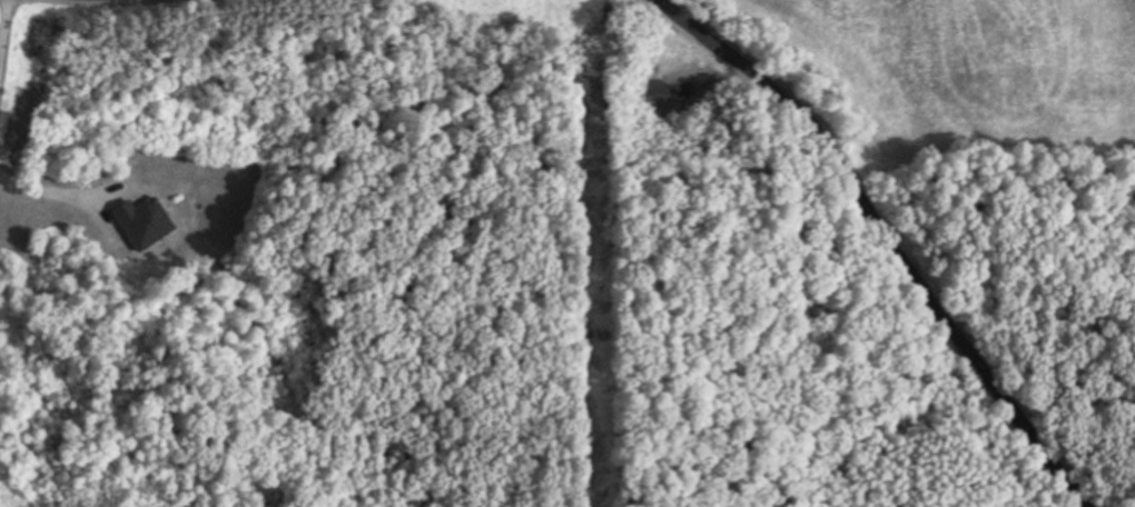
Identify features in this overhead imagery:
road: (2, 17)
crop: (969, 74)
road: (56, 191)
building: (144, 221)
road: (890, 235)

